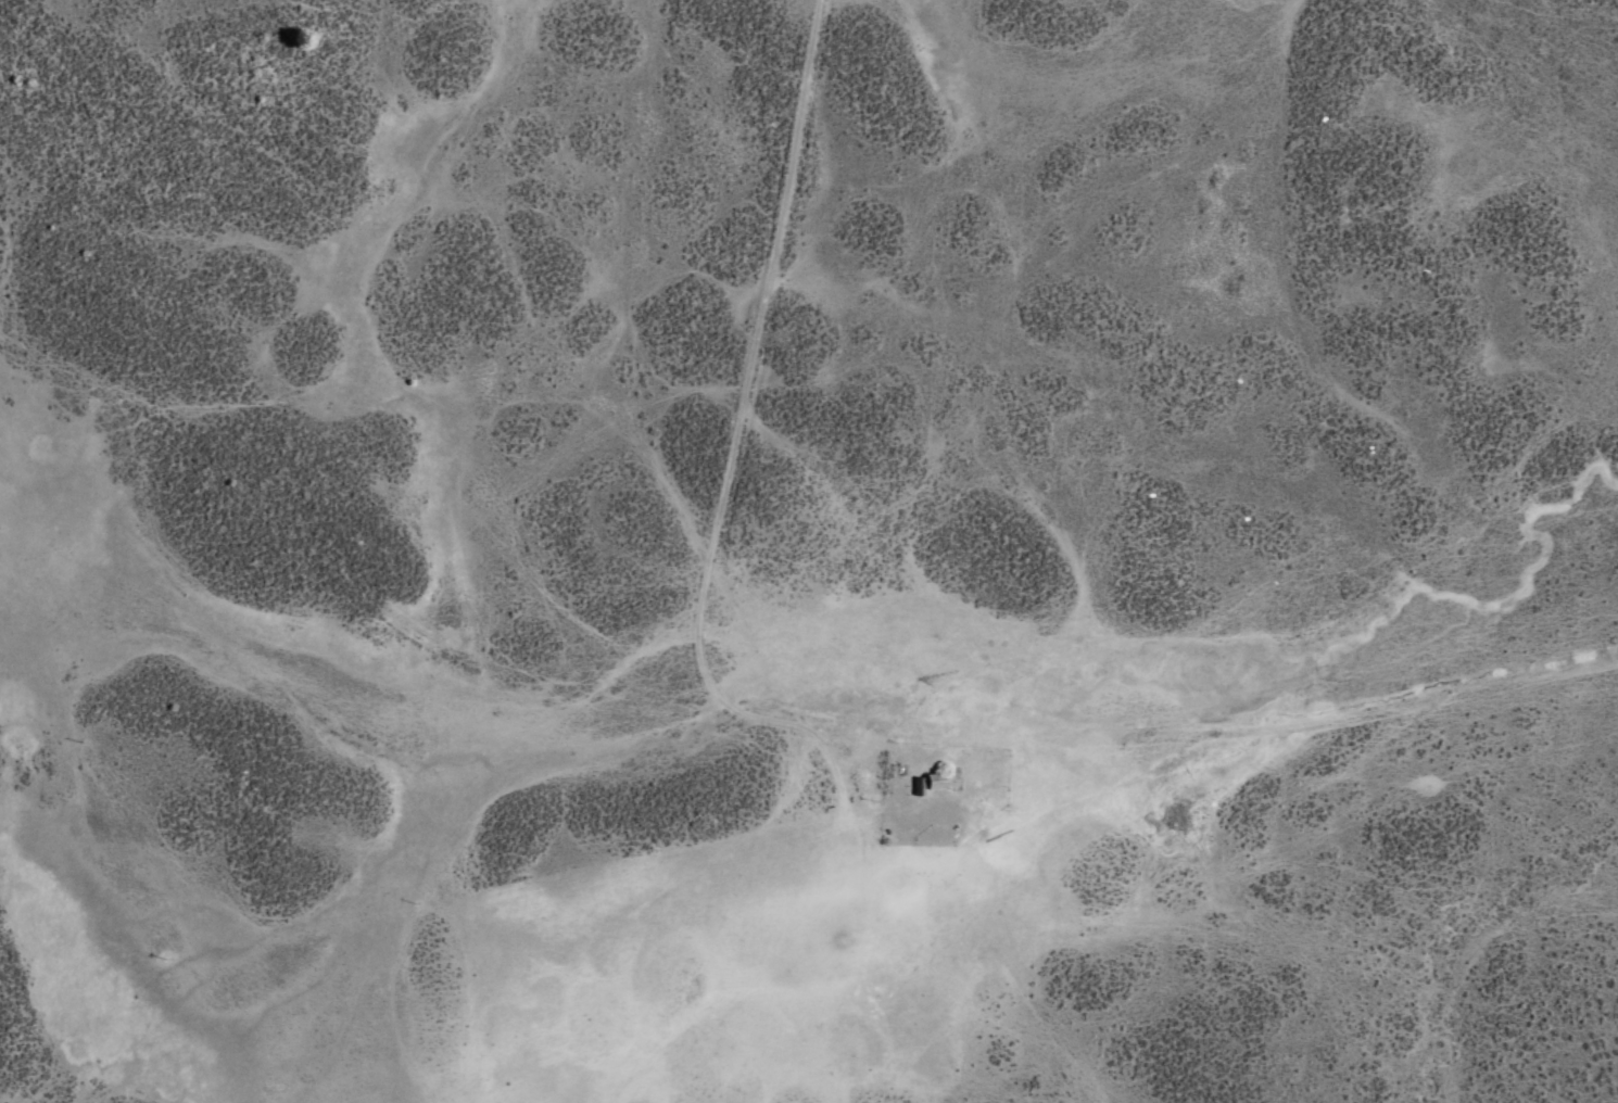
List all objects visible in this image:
road: (719, 541)
crop: (804, 545)

